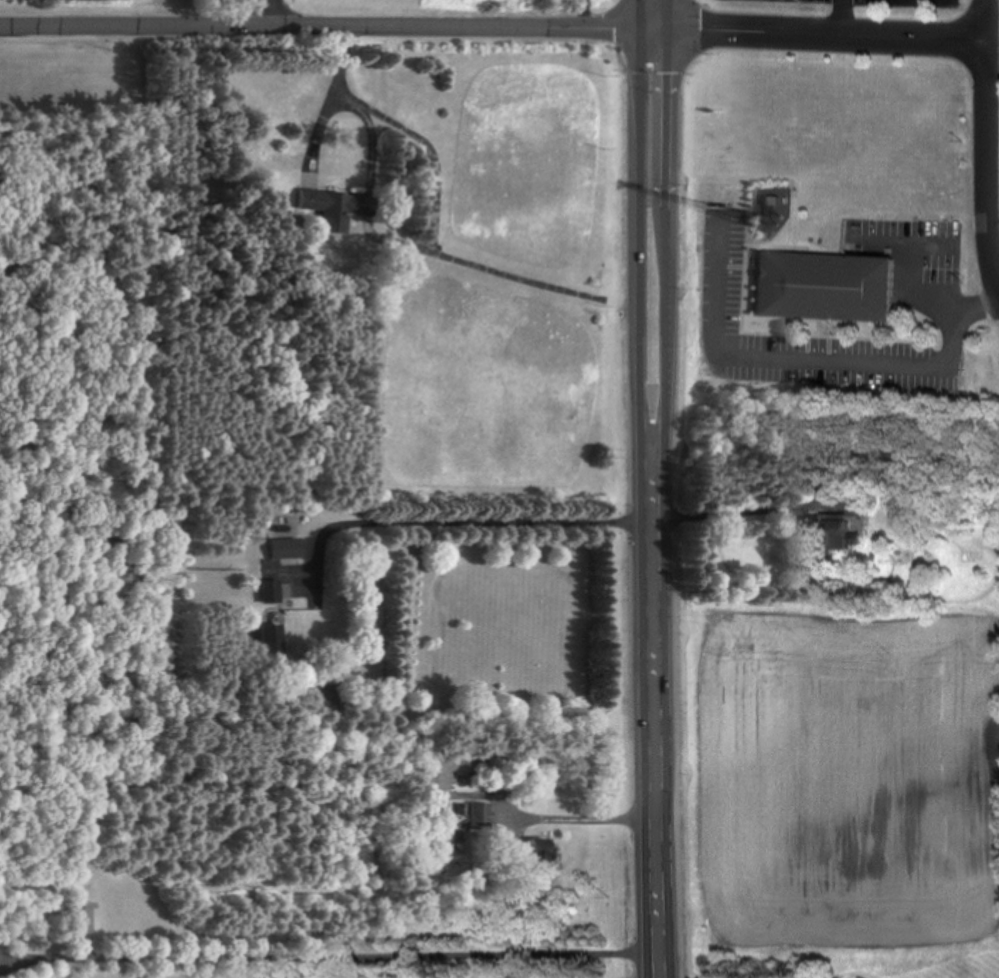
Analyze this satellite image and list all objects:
road: (270, 12)
road: (586, 14)
road: (335, 26)
traffic signals: (641, 29)
traffic signals: (670, 30)
road: (826, 36)
road: (990, 57)
road: (983, 147)
building: (328, 207)
park: (61, 250)
road: (640, 258)
road: (667, 258)
building: (818, 285)
building: (834, 532)
building: (279, 548)
building: (267, 591)
building: (265, 642)
road: (655, 734)
power tower: (615, 750)
building: (426, 777)
building: (476, 816)
road: (581, 817)
building: (533, 850)
power tower: (610, 898)
building: (81, 917)
road: (329, 959)
road: (659, 965)

